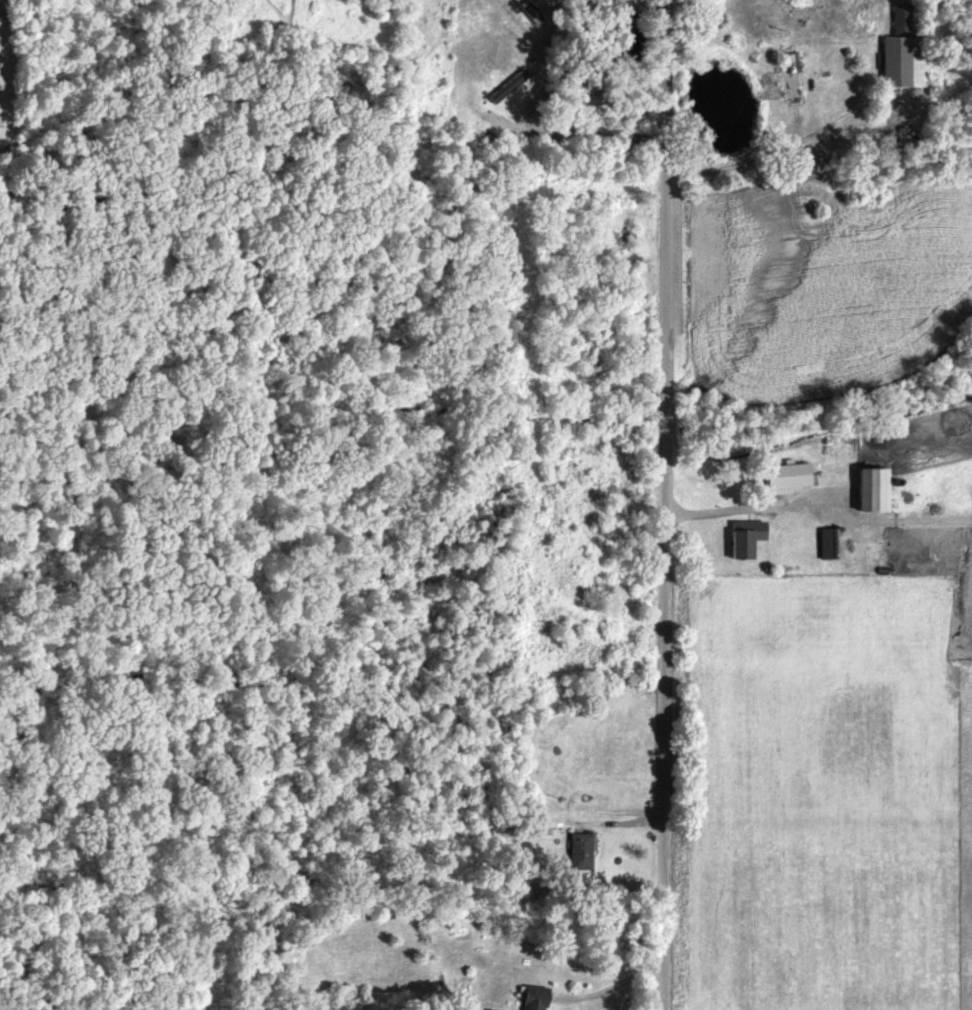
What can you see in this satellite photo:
building: (891, 62)
building: (877, 491)
road: (664, 505)
building: (746, 539)
building: (826, 547)
building: (822, 587)
building: (582, 853)
building: (528, 998)

